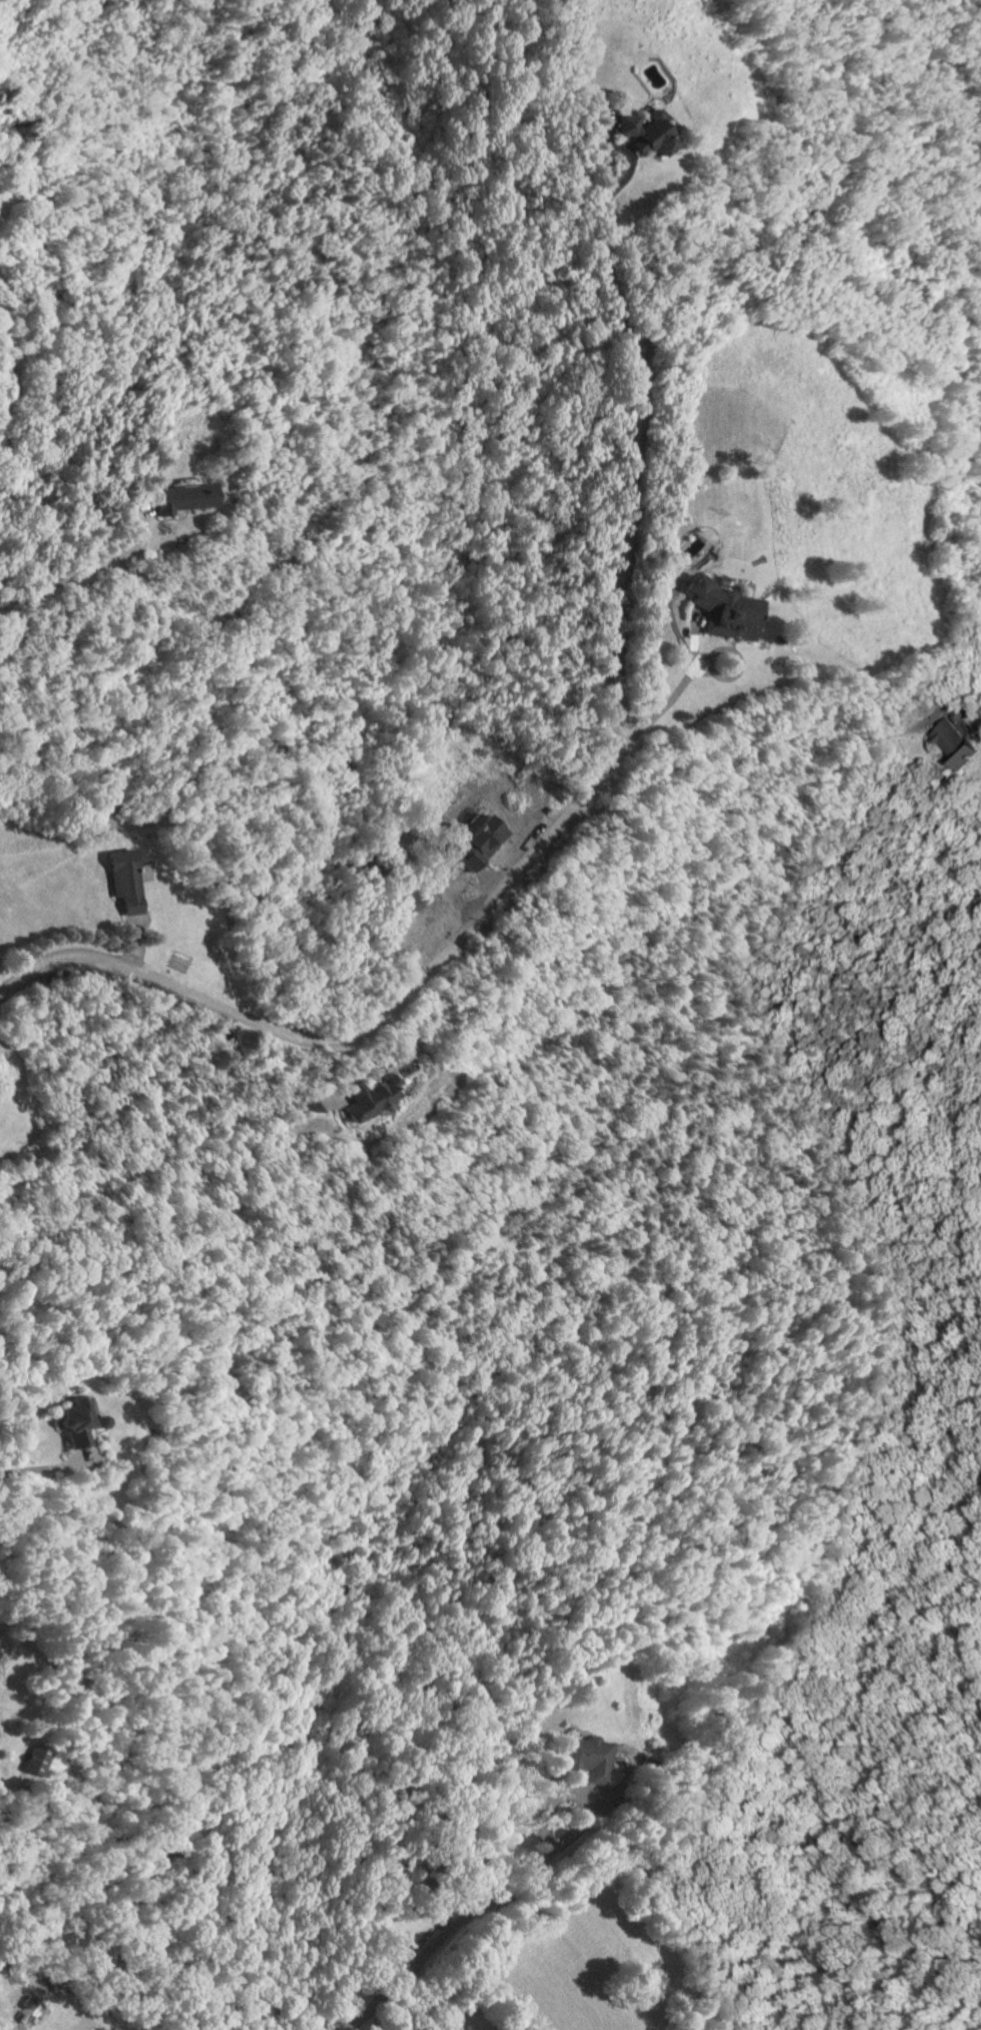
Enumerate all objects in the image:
road: (645, 430)
road: (75, 576)
road: (664, 698)
road: (735, 738)
road: (356, 1027)
road: (246, 1080)
road: (9, 1480)
road: (452, 1925)

